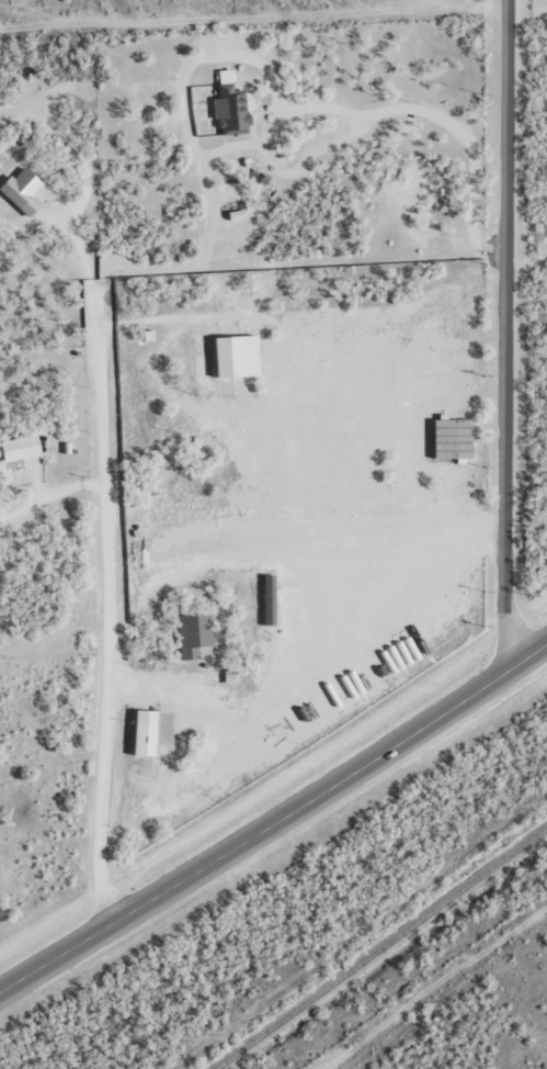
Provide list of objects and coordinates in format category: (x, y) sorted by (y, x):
building: (231, 106)
building: (23, 191)
road: (523, 331)
building: (238, 357)
building: (453, 439)
building: (21, 449)
building: (270, 601)
building: (194, 635)
building: (152, 732)
road: (273, 820)
railway: (378, 945)

